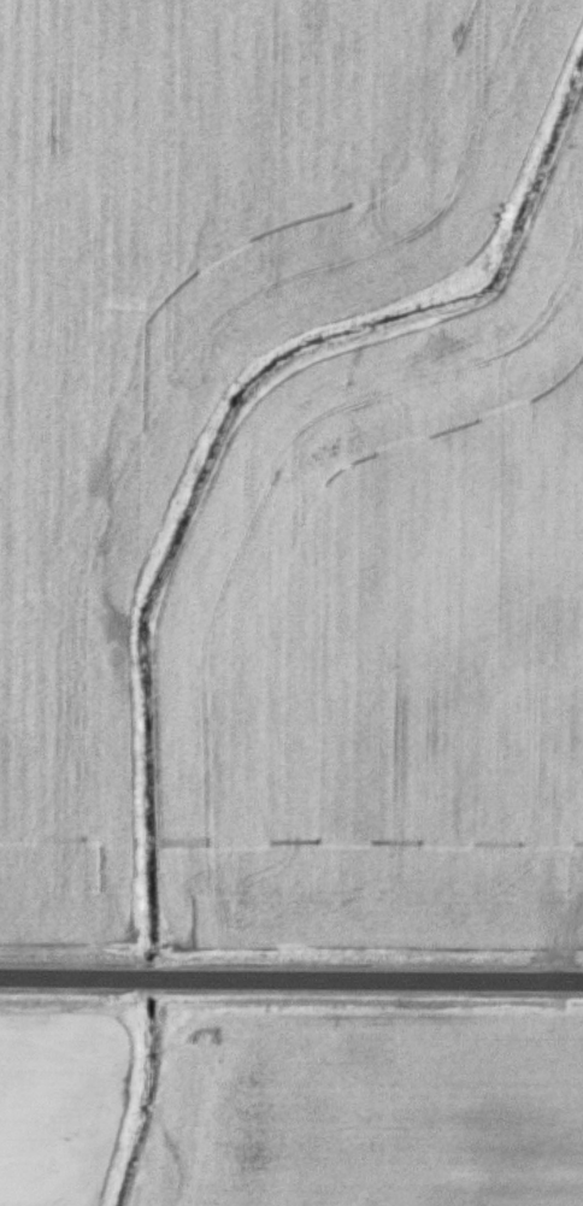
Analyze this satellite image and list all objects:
road: (290, 979)

